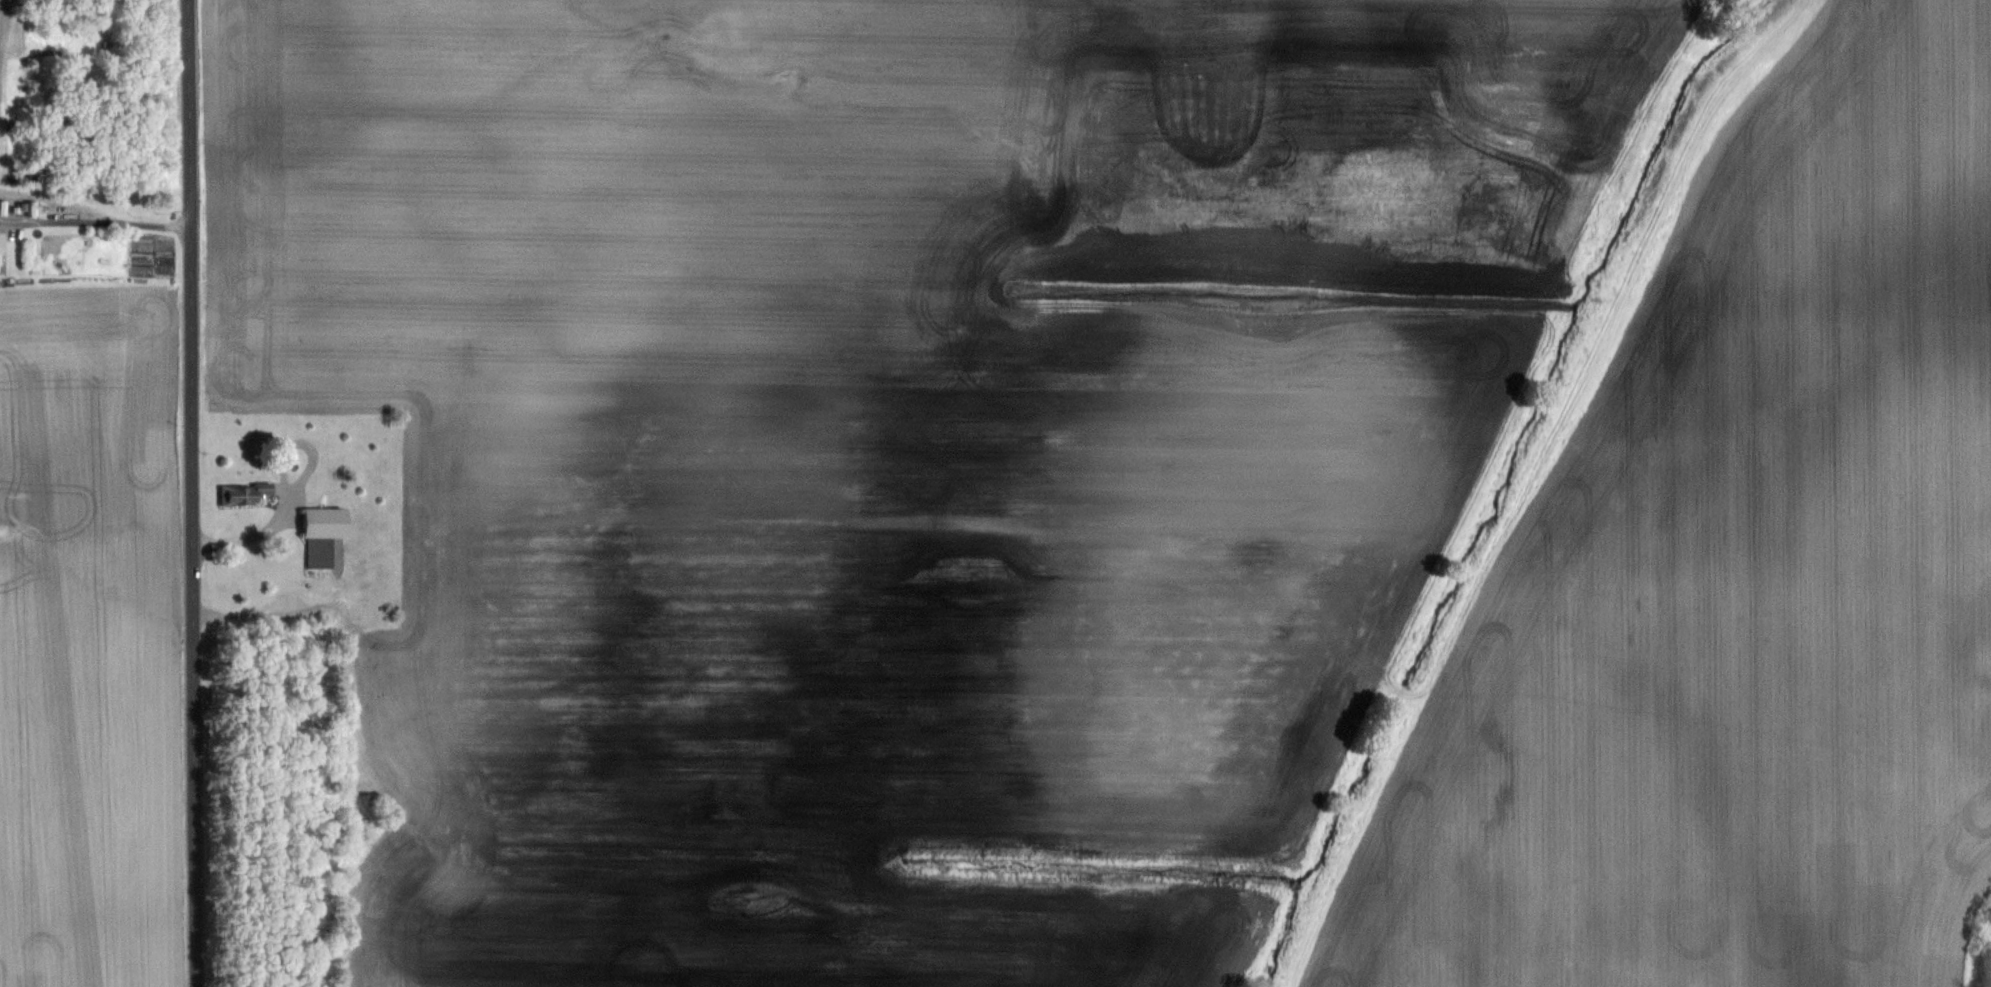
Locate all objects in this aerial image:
building: (0, 234)
road: (191, 493)
building: (239, 493)
building: (318, 533)

